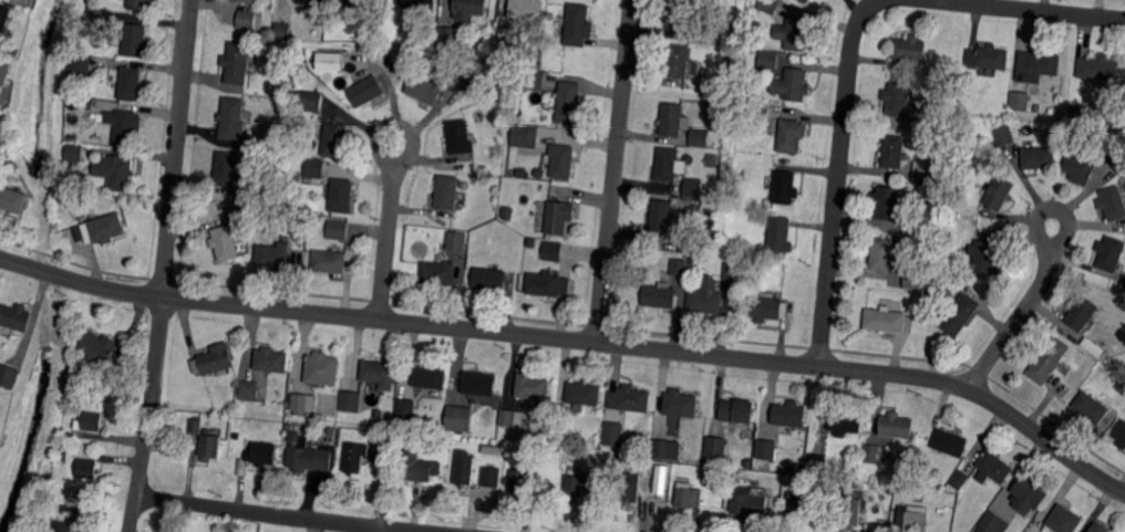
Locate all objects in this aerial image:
building: (245, 1)
building: (805, 1)
building: (360, 2)
building: (141, 6)
building: (770, 6)
building: (417, 7)
building: (469, 9)
building: (527, 9)
road: (1034, 9)
building: (550, 15)
building: (685, 17)
building: (4, 18)
building: (246, 20)
building: (99, 22)
building: (578, 25)
building: (282, 30)
building: (796, 32)
building: (722, 34)
building: (509, 36)
building: (448, 38)
building: (135, 43)
building: (481, 48)
building: (909, 49)
building: (725, 51)
building: (514, 52)
building: (14, 53)
building: (391, 54)
building: (988, 56)
building: (328, 60)
building: (679, 61)
building: (768, 61)
building: (238, 65)
building: (1038, 65)
building: (82, 67)
building: (1100, 67)
building: (3, 77)
building: (458, 77)
building: (953, 80)
building: (534, 82)
building: (793, 84)
building: (132, 86)
building: (282, 90)
building: (425, 91)
building: (367, 92)
building: (897, 98)
building: (1020, 100)
building: (309, 103)
building: (568, 104)
building: (92, 106)
building: (963, 106)
building: (1036, 108)
building: (1074, 109)
building: (760, 111)
building: (231, 118)
building: (672, 123)
building: (925, 125)
building: (939, 125)
building: (125, 128)
building: (789, 134)
building: (1004, 135)
building: (460, 136)
building: (526, 136)
building: (699, 139)
building: (333, 140)
building: (716, 143)
road: (177, 148)
building: (892, 150)
building: (1115, 153)
building: (78, 154)
building: (1039, 158)
building: (562, 160)
building: (668, 164)
building: (1078, 164)
building: (314, 168)
road: (615, 170)
building: (117, 173)
building: (227, 173)
building: (923, 174)
building: (538, 175)
road: (838, 177)
building: (462, 186)
building: (785, 187)
building: (693, 189)
building: (446, 192)
building: (997, 192)
building: (76, 195)
building: (712, 195)
building: (64, 196)
building: (251, 196)
building: (341, 197)
building: (13, 202)
building: (767, 202)
building: (888, 202)
building: (1113, 202)
building: (954, 208)
building: (320, 210)
building: (508, 213)
building: (249, 217)
building: (559, 217)
building: (312, 219)
building: (661, 219)
building: (961, 225)
building: (915, 226)
building: (106, 228)
building: (338, 230)
road: (389, 232)
building: (780, 237)
building: (896, 239)
building: (689, 240)
building: (456, 242)
building: (533, 242)
building: (224, 243)
building: (553, 251)
building: (1109, 253)
building: (273, 255)
building: (880, 255)
building: (984, 257)
building: (695, 260)
building: (330, 261)
building: (679, 267)
building: (732, 271)
building: (438, 273)
building: (491, 279)
building: (914, 280)
building: (949, 280)
building: (547, 283)
building: (660, 295)
building: (918, 298)
building: (705, 300)
building: (766, 309)
road: (1022, 311)
building: (1081, 312)
building: (959, 314)
building: (17, 319)
building: (886, 320)
road: (576, 340)
building: (101, 350)
building: (216, 359)
building: (1049, 359)
building: (270, 361)
building: (321, 371)
building: (75, 372)
building: (378, 373)
building: (9, 378)
building: (429, 378)
building: (479, 383)
building: (533, 386)
building: (248, 390)
building: (582, 395)
building: (628, 398)
building: (351, 400)
building: (301, 403)
building: (679, 404)
building: (406, 410)
building: (1093, 410)
building: (737, 411)
road: (151, 414)
building: (788, 414)
building: (378, 416)
building: (458, 418)
building: (512, 419)
building: (843, 420)
building: (92, 424)
building: (196, 426)
building: (895, 426)
building: (331, 431)
building: (612, 434)
building: (1121, 435)
building: (376, 437)
building: (950, 442)
building: (209, 447)
building: (668, 447)
building: (718, 447)
building: (767, 449)
building: (64, 453)
building: (261, 453)
building: (308, 453)
building: (876, 453)
building: (355, 457)
building: (818, 461)
building: (994, 466)
building: (415, 467)
building: (86, 468)
building: (465, 468)
building: (491, 479)
building: (960, 479)
building: (519, 480)
building: (592, 480)
building: (919, 480)
building: (834, 483)
building: (575, 486)
building: (630, 487)
building: (858, 494)
building: (1029, 494)
building: (660, 496)
building: (689, 499)
building: (750, 500)
building: (60, 505)
building: (803, 505)
building: (852, 511)
road: (277, 514)
building: (1033, 514)
building: (912, 518)
building: (1061, 521)
building: (992, 523)
building: (61, 525)
building: (1098, 528)
building: (946, 529)
road: (395, 531)

